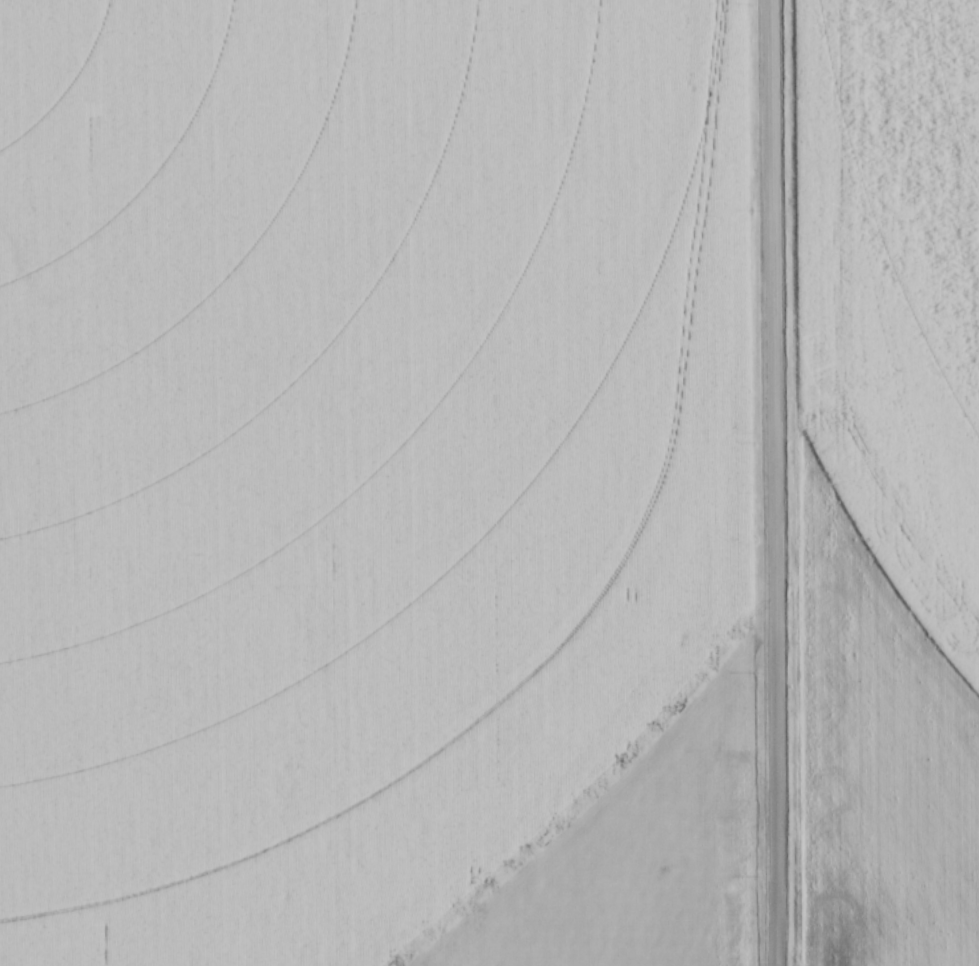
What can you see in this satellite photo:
crop: (370, 477)
crop: (888, 480)
road: (775, 483)

